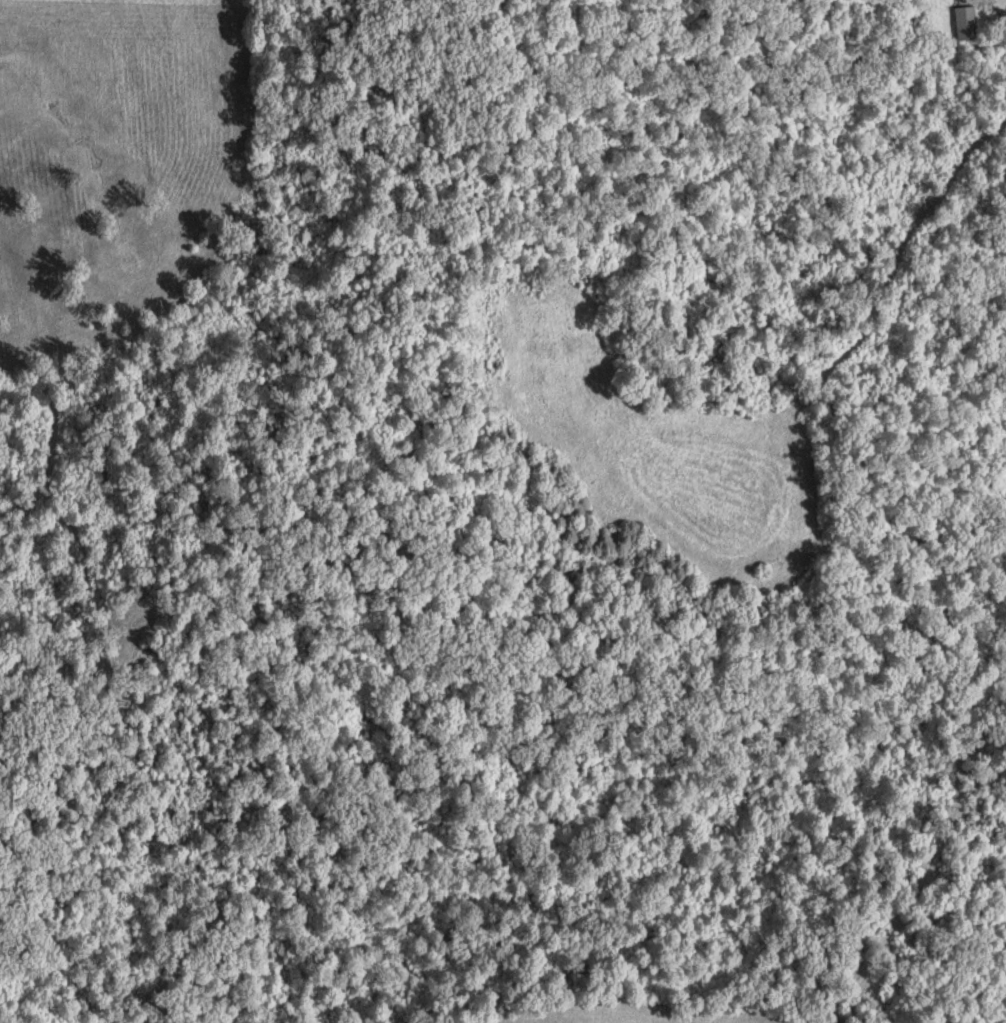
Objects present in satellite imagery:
building: (964, 25)
road: (351, 92)

